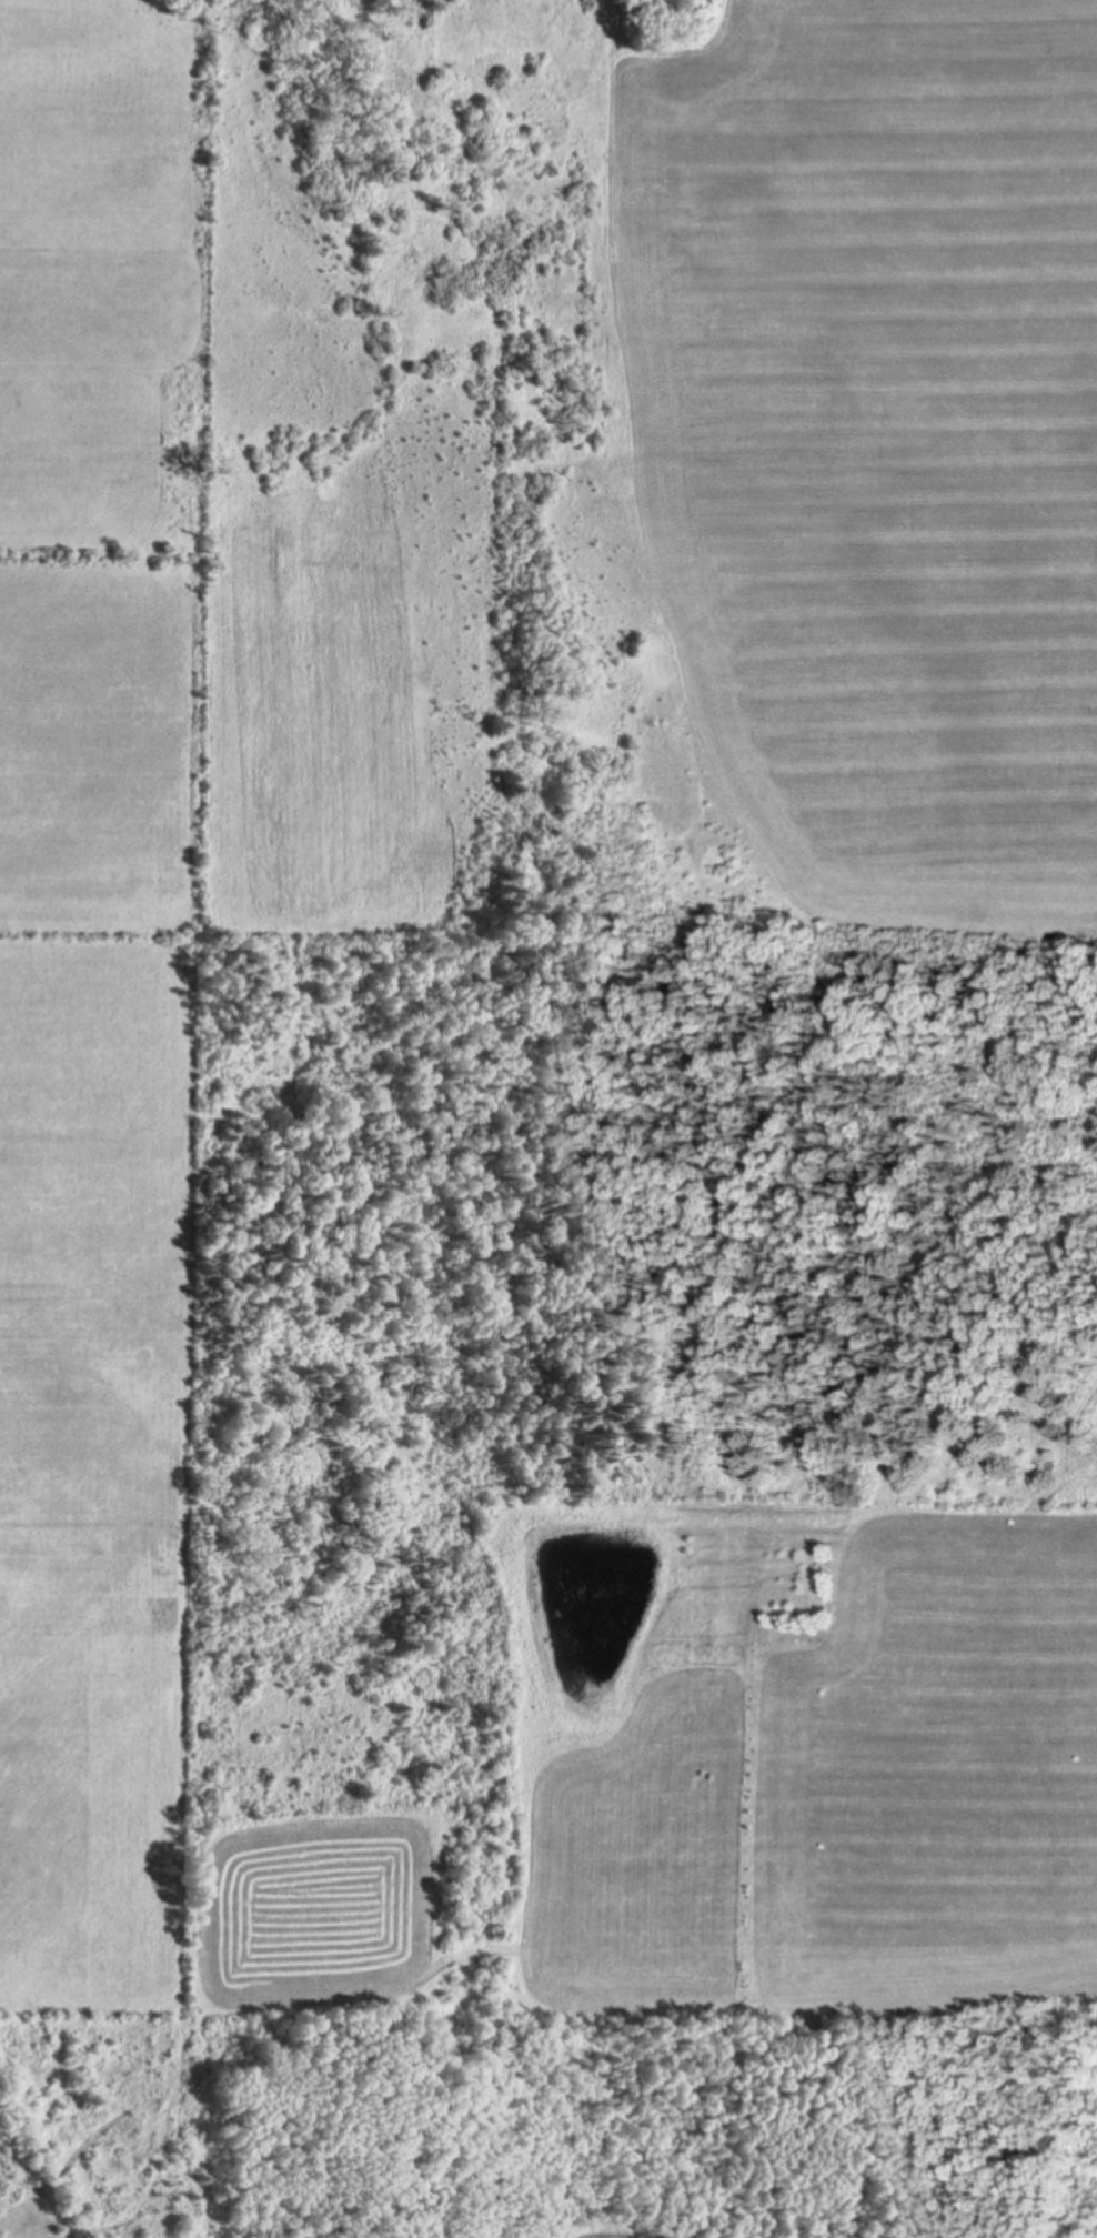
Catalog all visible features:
building: (889, 1468)

